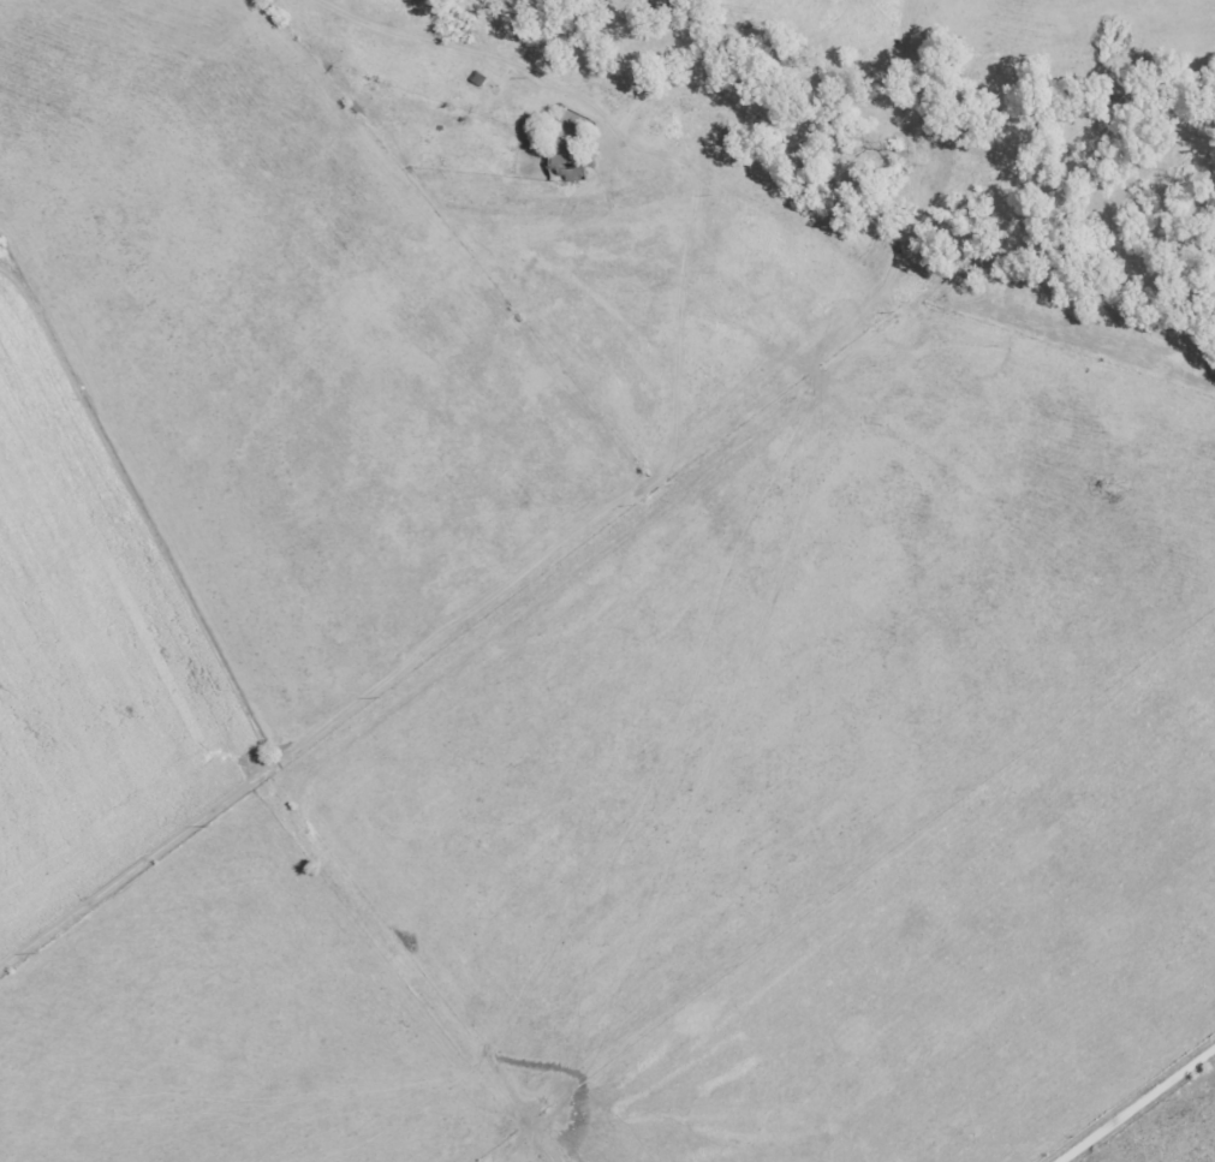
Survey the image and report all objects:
building: (568, 160)
road: (1208, 370)
road: (611, 520)
road: (1138, 1107)

